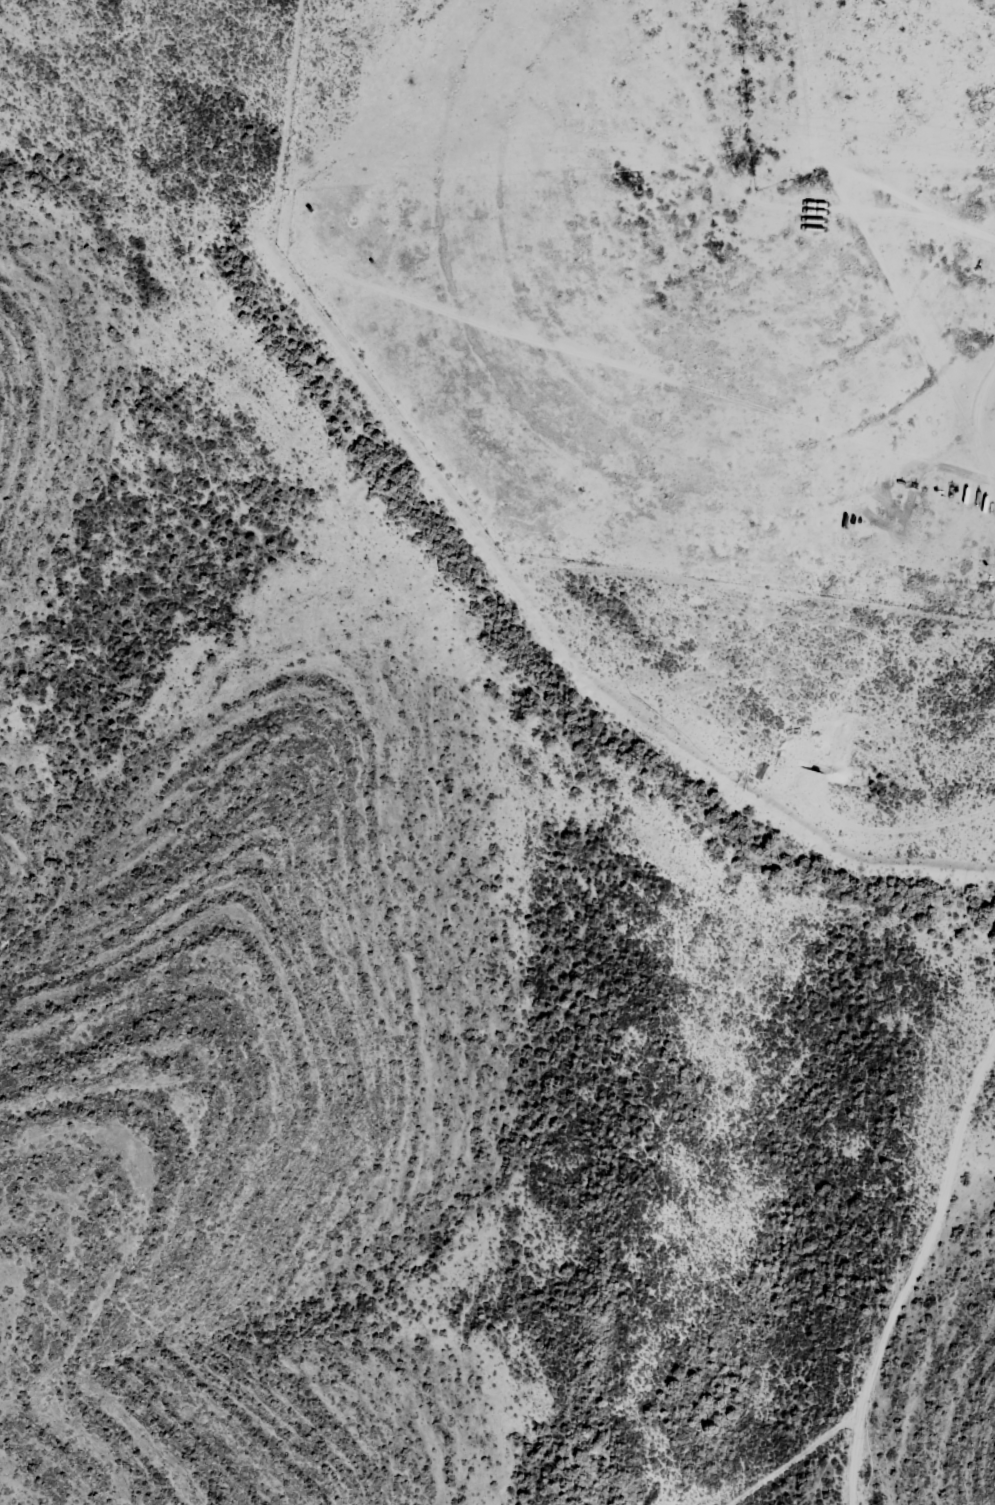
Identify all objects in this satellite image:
road: (929, 1207)

